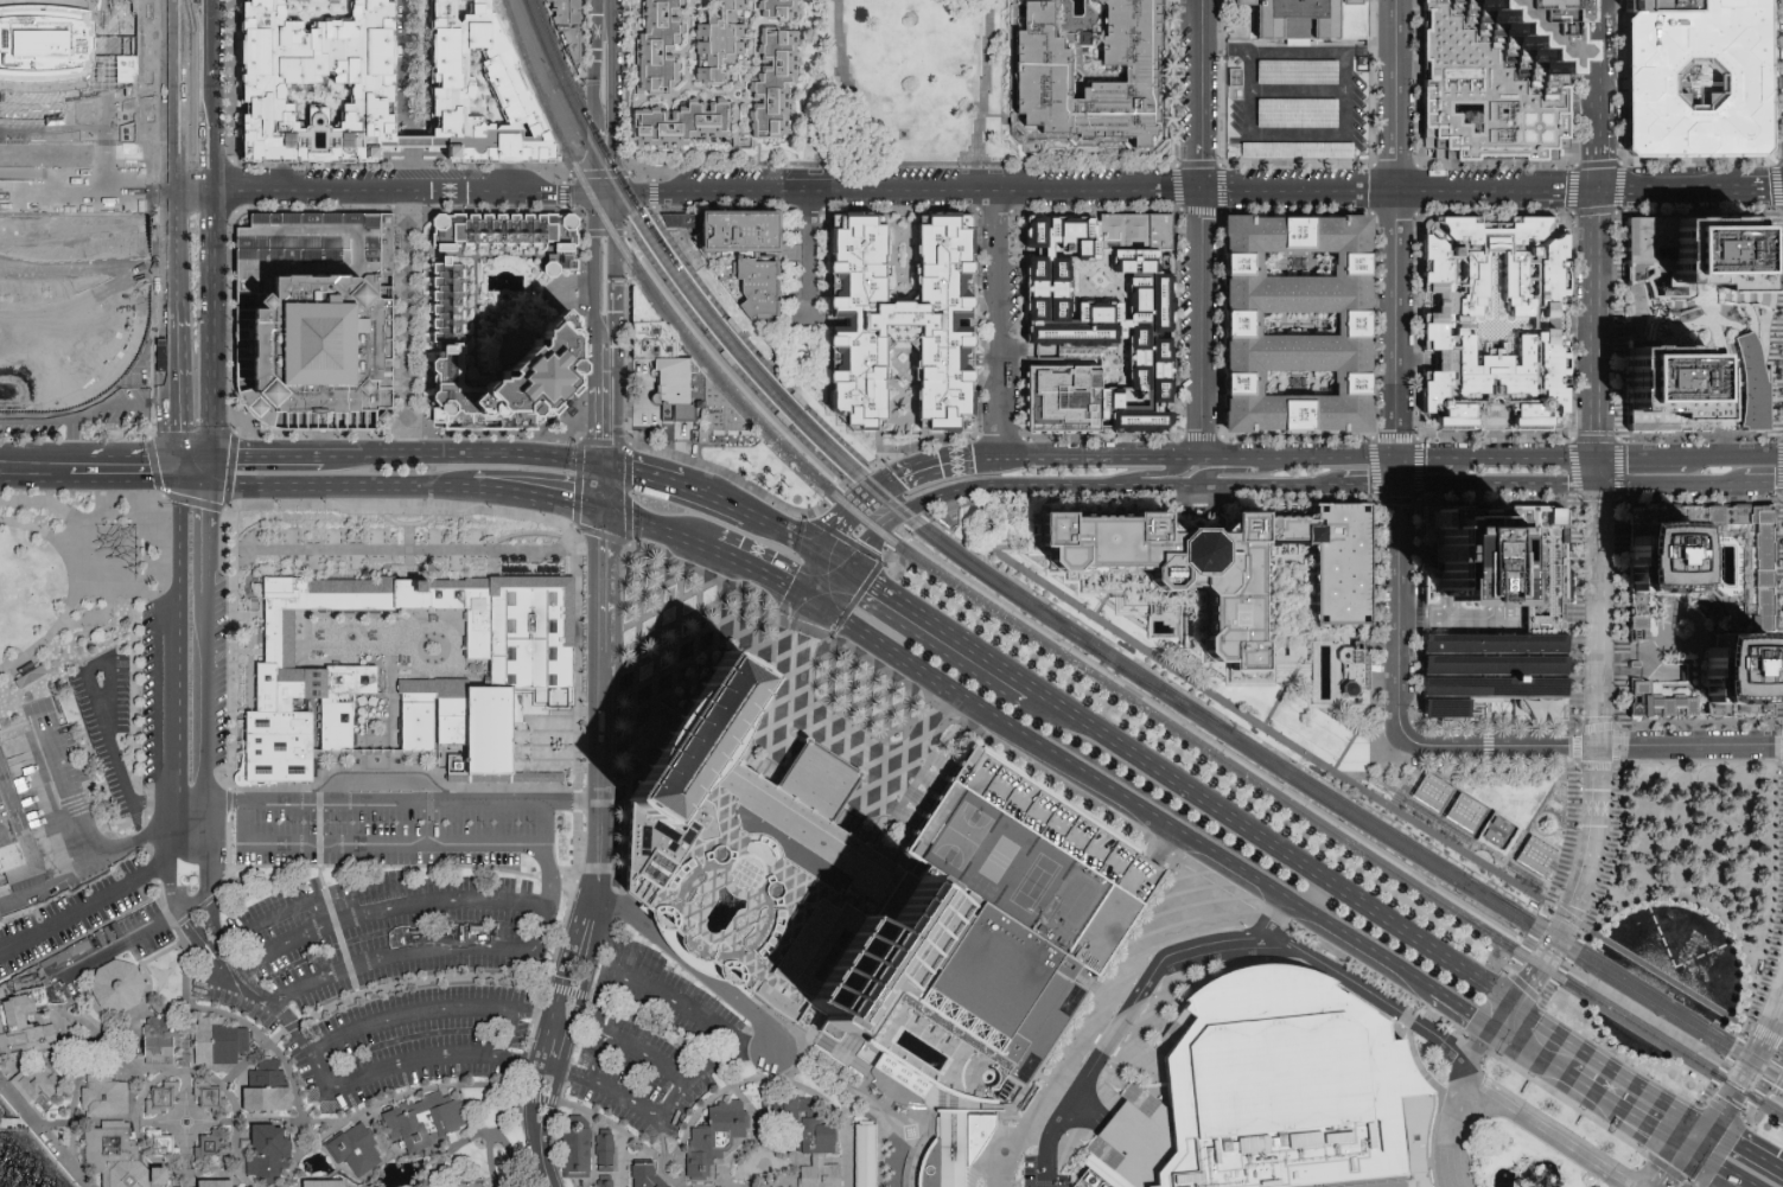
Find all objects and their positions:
building: (1668, 2)
road: (603, 14)
building: (1310, 19)
building: (569, 26)
road: (585, 36)
road: (206, 37)
road: (845, 40)
building: (50, 46)
road: (1295, 51)
road: (1599, 58)
building: (503, 71)
road: (594, 72)
building: (1040, 72)
building: (713, 74)
building: (1496, 79)
building: (320, 81)
building: (1701, 81)
road: (414, 82)
park: (903, 82)
road: (987, 82)
road: (1198, 92)
road: (1297, 92)
parking lot: (1299, 103)
road: (609, 110)
road: (1295, 133)
road: (209, 134)
road: (424, 139)
road: (1600, 153)
road: (173, 154)
road: (592, 157)
road: (872, 162)
road: (320, 164)
road: (655, 164)
road: (629, 168)
road: (652, 173)
road: (598, 174)
road: (988, 174)
road: (89, 176)
road: (562, 178)
building: (74, 180)
road: (234, 184)
road: (898, 186)
road: (1139, 186)
road: (1751, 186)
road: (1365, 187)
road: (1660, 187)
road: (1567, 189)
road: (369, 193)
road: (562, 193)
road: (667, 193)
road: (191, 194)
road: (561, 194)
road: (652, 194)
road: (604, 196)
traffic signals: (616, 196)
traffic signals: (593, 197)
road: (616, 206)
road: (581, 215)
building: (680, 221)
road: (1395, 229)
building: (1142, 230)
building: (739, 231)
road: (604, 234)
road: (626, 245)
building: (1701, 249)
road: (807, 250)
road: (594, 261)
road: (617, 272)
building: (757, 288)
road: (1779, 299)
road: (1705, 300)
building: (644, 309)
building: (1106, 312)
building: (317, 318)
road: (414, 320)
road: (998, 321)
road: (1600, 323)
building: (903, 324)
road: (1198, 324)
building: (1352, 324)
road: (209, 325)
building: (1441, 325)
road: (1630, 327)
building: (447, 330)
building: (655, 344)
railway: (738, 345)
road: (747, 345)
road: (728, 359)
road: (725, 366)
railway: (754, 378)
road: (174, 382)
building: (1751, 384)
building: (1669, 387)
building: (682, 388)
road: (604, 395)
building: (1066, 401)
building: (722, 415)
road: (238, 428)
traffic signals: (1600, 432)
road: (584, 441)
road: (471, 455)
road: (1733, 455)
road: (44, 457)
road: (132, 457)
traffic signals: (176, 457)
road: (192, 457)
road: (1527, 457)
traffic signals: (1629, 457)
road: (1641, 457)
traffic signals: (209, 458)
road: (1011, 458)
road: (1425, 458)
road: (266, 459)
road: (344, 459)
road: (1323, 459)
road: (1125, 460)
road: (1211, 460)
road: (1238, 460)
road: (153, 464)
road: (591, 465)
railway: (858, 465)
road: (941, 465)
traffic signals: (603, 467)
road: (231, 468)
road: (176, 470)
road: (1210, 470)
road: (1599, 470)
road: (1159, 471)
road: (1396, 471)
road: (209, 472)
road: (643, 476)
railway: (842, 479)
road: (1669, 481)
road: (1760, 481)
road: (34, 483)
road: (122, 483)
road: (1498, 483)
traffic signals: (1571, 483)
traffic signals: (177, 484)
road: (1371, 484)
road: (192, 485)
road: (1116, 485)
road: (1046, 486)
road: (1159, 486)
road: (1269, 486)
traffic signals: (209, 487)
road: (346, 489)
road: (603, 490)
road: (195, 499)
road: (543, 499)
road: (715, 502)
road: (858, 504)
road: (783, 508)
road: (947, 508)
road: (391, 510)
traffic signals: (603, 513)
road: (81, 516)
road: (885, 524)
road: (566, 525)
road: (656, 531)
road: (785, 534)
road: (408, 535)
road: (209, 541)
building: (1432, 549)
traffic signals: (822, 554)
building: (1501, 559)
building: (1662, 559)
road: (834, 561)
building: (1228, 564)
traffic signals: (846, 568)
road: (758, 573)
road: (813, 576)
building: (1760, 579)
road: (134, 580)
road: (700, 583)
road: (862, 588)
park: (59, 589)
road: (72, 589)
road: (410, 595)
traffic signals: (804, 599)
road: (1304, 604)
road: (815, 605)
road: (1397, 611)
traffic signals: (826, 612)
road: (1598, 613)
building: (1639, 617)
road: (1444, 621)
road: (410, 624)
road: (938, 630)
railway: (1072, 633)
road: (789, 638)
road: (381, 639)
road: (174, 645)
road: (807, 645)
road: (229, 647)
railway: (1051, 649)
road: (1643, 651)
road: (899, 660)
building: (1739, 668)
building: (1491, 670)
building: (1352, 671)
building: (30, 677)
building: (410, 682)
road: (208, 696)
road: (661, 697)
railway: (1177, 702)
building: (1680, 702)
road: (600, 708)
road: (1269, 711)
road: (391, 720)
road: (103, 728)
parking lot: (108, 729)
road: (1266, 729)
road: (899, 739)
road: (1209, 742)
road: (1690, 742)
road: (1502, 744)
traffic signals: (1599, 744)
road: (871, 760)
park: (1356, 760)
road: (1688, 761)
road: (1403, 765)
road: (700, 770)
road: (813, 780)
road: (380, 784)
road: (126, 790)
road: (225, 797)
road: (244, 798)
road: (1594, 798)
road: (68, 799)
road: (573, 799)
building: (1450, 800)
road: (229, 802)
parking lot: (942, 803)
road: (1545, 805)
building: (1498, 828)
building: (15, 832)
park: (957, 835)
road: (1190, 836)
road: (1260, 840)
railway: (1411, 844)
road: (170, 851)
building: (1537, 856)
road: (193, 857)
road: (229, 857)
road: (84, 862)
road: (1193, 864)
railway: (1440, 875)
road: (1559, 875)
road: (542, 881)
park: (1030, 882)
road: (208, 883)
road: (1575, 895)
building: (878, 904)
road: (198, 908)
road: (84, 910)
road: (287, 910)
road: (370, 913)
road: (1707, 913)
road: (1272, 915)
park: (1679, 925)
parking lot: (85, 932)
road: (903, 932)
road: (908, 936)
road: (911, 938)
road: (1224, 938)
road: (179, 940)
road: (898, 940)
parking lot: (390, 942)
road: (903, 943)
road: (607, 945)
road: (117, 946)
road: (200, 946)
road: (906, 946)
road: (893, 947)
toll booth: (223, 949)
road: (224, 950)
road: (898, 950)
road: (419, 952)
toll booth: (612, 955)
road: (1548, 955)
road: (887, 956)
road: (892, 958)
road: (897, 961)
road: (1306, 964)
road: (568, 966)
road: (690, 971)
fountain: (1667, 971)
road: (1416, 976)
road: (1666, 979)
building: (117, 987)
road: (539, 987)
road: (1524, 988)
road: (1526, 989)
road: (1109, 994)
road: (1501, 997)
road: (675, 1002)
road: (1462, 1008)
road: (429, 1013)
road: (524, 1014)
road: (1407, 1015)
road: (1644, 1015)
road: (1504, 1019)
building: (1186, 1020)
road: (242, 1022)
building: (24, 1025)
road: (571, 1027)
road: (102, 1032)
road: (187, 1032)
road: (1091, 1033)
road: (1520, 1033)
road: (1757, 1034)
fountain: (1632, 1035)
road: (1107, 1042)
building: (157, 1044)
road: (1516, 1044)
building: (219, 1045)
parking lot: (649, 1045)
road: (1478, 1045)
road: (305, 1046)
road: (1479, 1048)
road: (541, 1049)
road: (1121, 1051)
road: (1733, 1052)
road: (439, 1058)
toll booth: (510, 1059)
road: (523, 1061)
road: (1597, 1061)
road: (1550, 1065)
road: (1744, 1070)
road: (868, 1074)
road: (760, 1077)
road: (364, 1078)
road: (680, 1080)
building: (1282, 1085)
building: (36, 1087)
road: (1762, 1089)
road: (1590, 1090)
building: (268, 1091)
road: (426, 1091)
railway: (1777, 1093)
building: (104, 1096)
road: (1772, 1096)
building: (211, 1097)
road: (74, 1100)
building: (163, 1102)
road: (1567, 1104)
road: (314, 1105)
road: (838, 1106)
road: (529, 1108)
road: (962, 1109)
road: (1619, 1109)
road: (1089, 1110)
road: (1724, 1111)
building: (0, 1115)
road: (693, 1115)
road: (97, 1119)
fountain: (186, 1122)
road: (1693, 1122)
pier: (11, 1123)
building: (429, 1123)
road: (1645, 1124)
road: (1451, 1127)
traffic signals: (1704, 1128)
road: (178, 1129)
road: (1549, 1131)
building: (976, 1132)
road: (482, 1134)
road: (383, 1135)
road: (1715, 1135)
road: (42, 1136)
road: (489, 1137)
road: (661, 1137)
building: (810, 1137)
road: (1032, 1138)
road: (1694, 1138)
building: (715, 1140)
building: (1138, 1143)
road: (1677, 1143)
road: (1732, 1143)
building: (163, 1147)
building: (212, 1147)
building: (1415, 1148)
traffic signals: (1686, 1149)
building: (579, 1150)
building: (357, 1151)
building: (609, 1153)
building: (270, 1154)
building: (945, 1154)
road: (1695, 1154)
road: (1719, 1154)
building: (866, 1156)
building: (125, 1157)
road: (789, 1157)
road: (153, 1159)
road: (186, 1159)
road: (401, 1159)
road: (1759, 1159)
road: (648, 1160)
road: (1708, 1162)
road: (335, 1164)
road: (1047, 1164)
road: (1663, 1168)
road: (1670, 1168)
road: (541, 1169)
parking lot: (1043, 1172)
road: (237, 1174)
road: (1722, 1175)
road: (1732, 1175)
building: (647, 1176)
building: (1097, 1176)
building: (609, 1182)
building: (473, 1183)
building: (217, 1185)
building: (327, 1185)
road: (790, 1185)
road: (1687, 1185)
building: (242, 1186)

